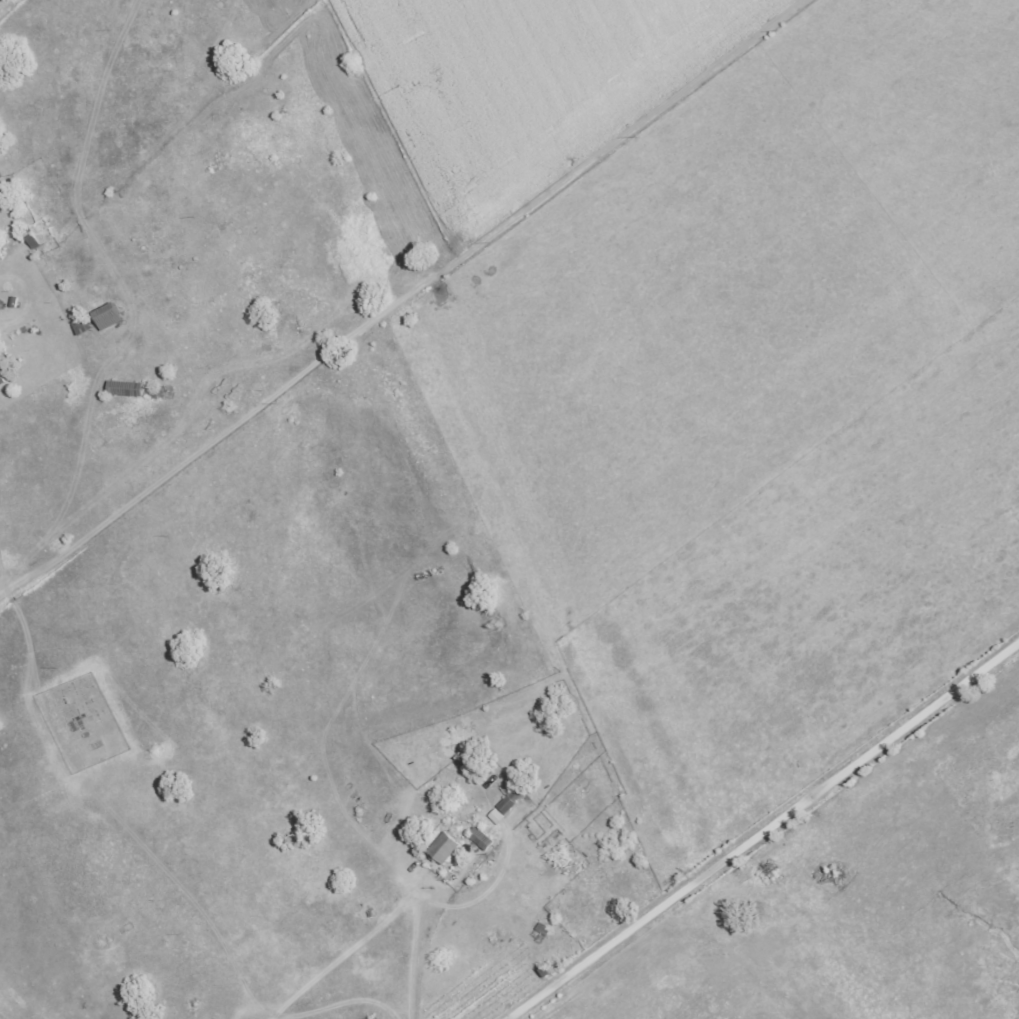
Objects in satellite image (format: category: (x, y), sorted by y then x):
road: (408, 294)
building: (106, 317)
building: (0, 381)
park: (87, 719)
building: (505, 805)
road: (358, 815)
road: (760, 831)
building: (480, 839)
building: (443, 849)

